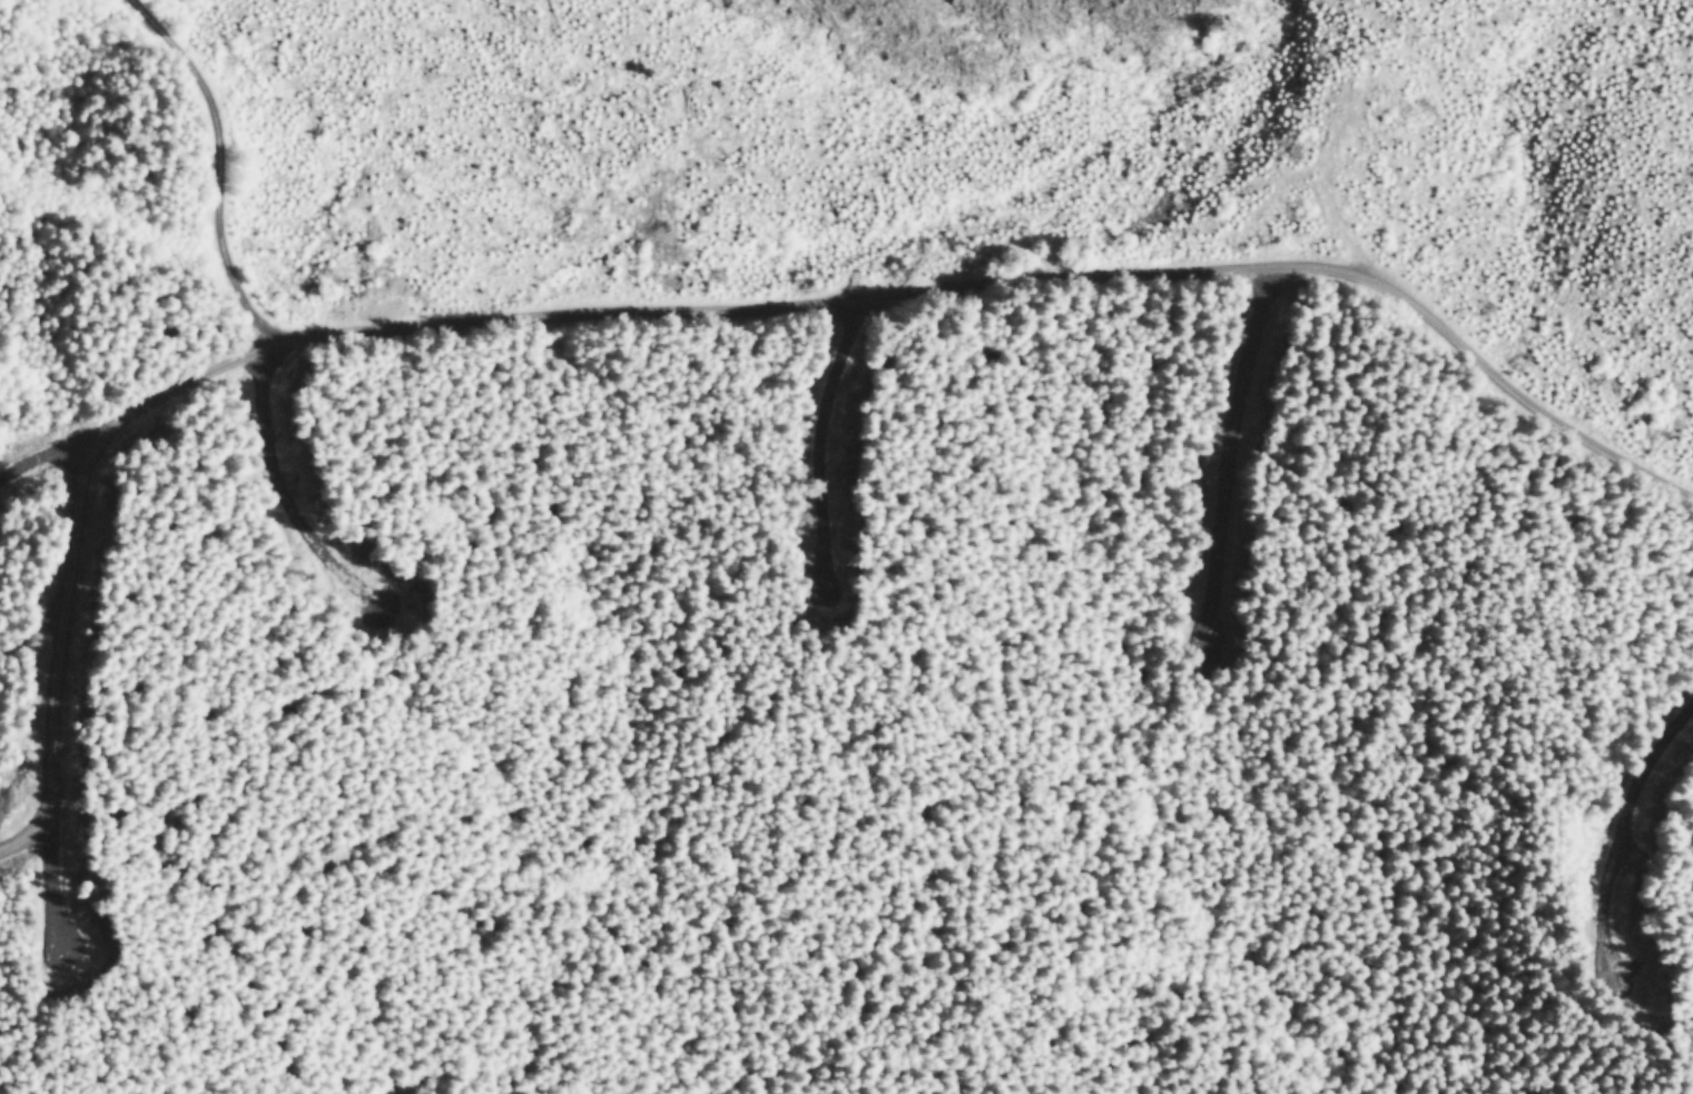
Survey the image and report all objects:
road: (213, 161)
road: (1012, 277)
road: (135, 408)
road: (1638, 818)

